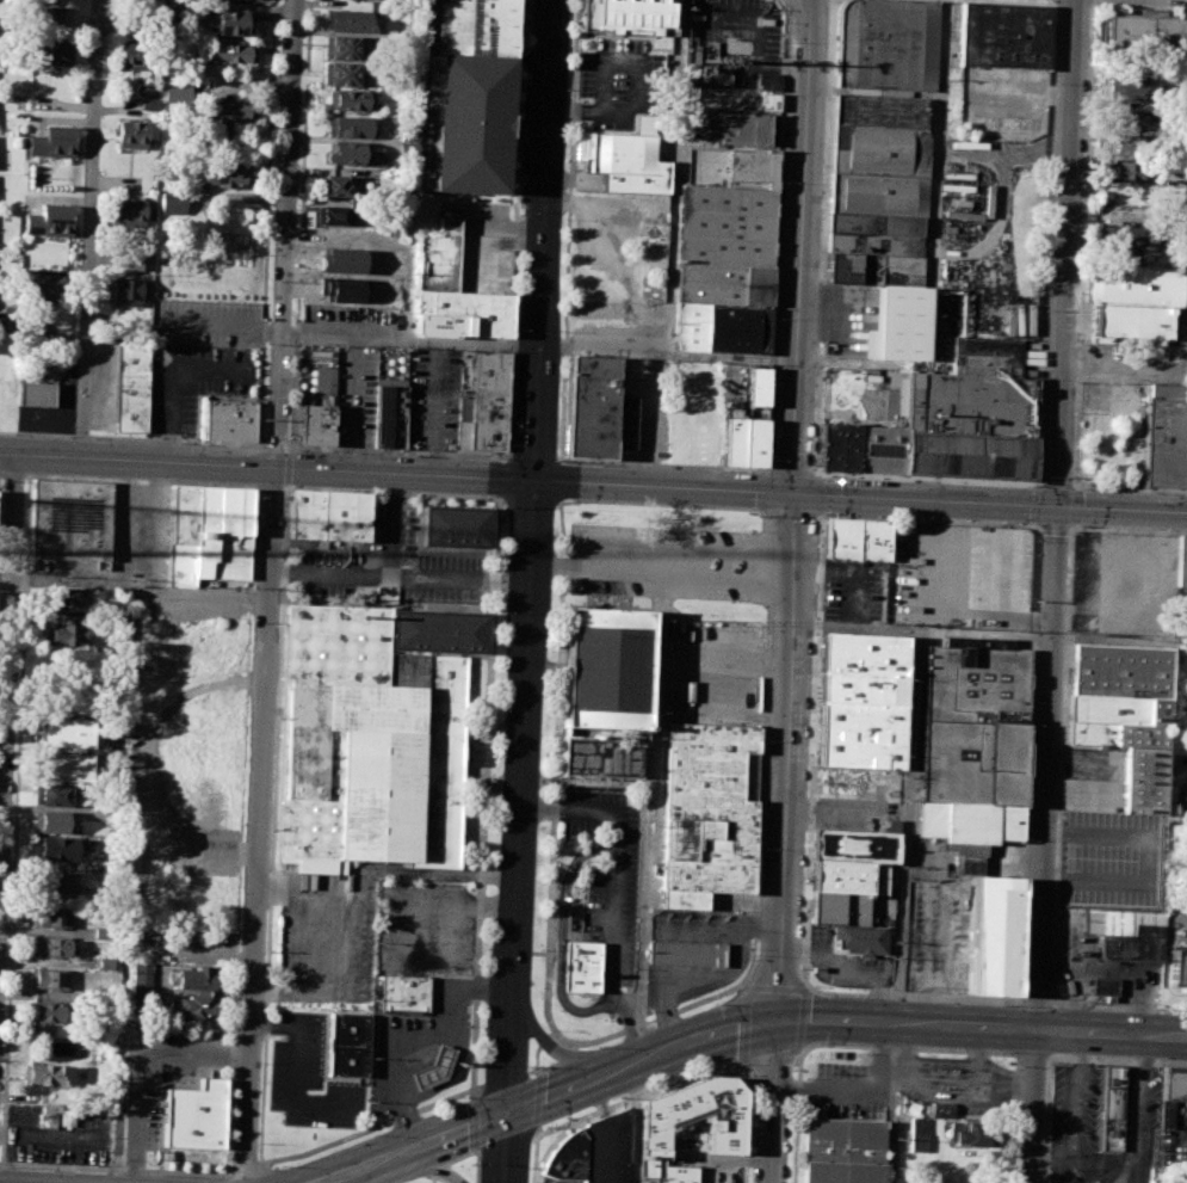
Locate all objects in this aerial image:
road: (786, 1)
road: (1053, 4)
road: (1074, 4)
road: (1139, 5)
building: (629, 17)
building: (231, 21)
building: (351, 21)
building: (475, 24)
building: (1145, 27)
building: (1004, 35)
road: (755, 39)
street lamp: (786, 41)
building: (886, 43)
street lamp: (104, 45)
street lamp: (305, 45)
building: (342, 48)
building: (57, 50)
building: (136, 53)
building: (231, 53)
building: (342, 73)
building: (767, 79)
street lamp: (524, 85)
building: (1130, 88)
street lamp: (565, 90)
parking lot: (1004, 91)
building: (178, 95)
building: (348, 100)
building: (748, 104)
building: (224, 110)
building: (1138, 119)
building: (470, 123)
building: (351, 127)
street lamp: (273, 130)
building: (407, 131)
building: (742, 133)
building: (131, 135)
street lamp: (100, 137)
building: (51, 141)
road: (936, 141)
building: (1123, 144)
building: (407, 152)
building: (348, 153)
building: (880, 155)
building: (622, 162)
building: (746, 170)
building: (1119, 171)
building: (222, 172)
road: (673, 177)
building: (587, 179)
street lamp: (781, 181)
building: (341, 185)
street lamp: (299, 191)
street lamp: (524, 211)
road: (1045, 211)
building: (129, 212)
building: (335, 214)
street lamp: (562, 218)
building: (49, 220)
building: (722, 227)
road: (89, 229)
road: (515, 229)
road: (567, 230)
building: (1127, 234)
road: (824, 235)
road: (777, 236)
street lamp: (95, 239)
road: (543, 240)
road: (1083, 244)
road: (800, 246)
building: (874, 249)
street lamp: (270, 253)
road: (1065, 253)
building: (438, 257)
building: (140, 258)
building: (1133, 284)
building: (721, 285)
building: (48, 288)
building: (131, 291)
street lamp: (1045, 309)
building: (6, 314)
building: (462, 314)
street lamp: (777, 319)
building: (1130, 320)
building: (899, 325)
street lamp: (515, 328)
building: (719, 329)
street lamp: (93, 331)
street lamp: (560, 331)
building: (33, 332)
road: (540, 347)
street lamp: (291, 351)
building: (987, 357)
parking lot: (200, 363)
road: (199, 368)
building: (484, 371)
road: (1152, 376)
building: (131, 383)
building: (758, 386)
building: (37, 394)
parking lot: (434, 400)
building: (598, 411)
building: (756, 412)
street lamp: (1076, 412)
building: (391, 413)
road: (44, 418)
building: (488, 418)
building: (230, 420)
road: (649, 420)
building: (316, 425)
building: (971, 425)
road: (37, 432)
street lamp: (14, 433)
road: (80, 435)
building: (1163, 435)
street lamp: (66, 437)
road: (175, 439)
street lamp: (264, 439)
street lamp: (289, 439)
building: (734, 442)
street lamp: (184, 443)
building: (754, 443)
street lamp: (509, 444)
road: (274, 445)
building: (839, 445)
street lamp: (295, 449)
building: (882, 449)
road: (397, 451)
street lamp: (413, 455)
road: (533, 457)
street lamp: (772, 457)
street lamp: (499, 458)
street lamp: (564, 458)
street lamp: (596, 463)
road: (662, 464)
building: (1183, 464)
street lamp: (1074, 468)
street lamp: (716, 469)
road: (1, 472)
road: (13, 473)
road: (926, 477)
road: (506, 479)
road: (814, 479)
street lamp: (907, 479)
street lamp: (2, 480)
road: (140, 480)
road: (527, 480)
traffic signals: (533, 481)
road: (1055, 483)
road: (270, 486)
street lamp: (1026, 486)
road: (1129, 488)
road: (394, 491)
street lamp: (1151, 492)
traffic signals: (796, 494)
street lamp: (285, 497)
road: (549, 499)
street lamp: (575, 499)
road: (661, 503)
road: (1035, 503)
street lamp: (505, 506)
road: (1074, 506)
traffic signals: (1057, 507)
road: (761, 509)
road: (1121, 510)
street lamp: (564, 511)
building: (328, 515)
street lamp: (760, 515)
building: (70, 519)
street lamp: (573, 519)
road: (762, 519)
road: (928, 519)
road: (394, 522)
road: (1037, 523)
road: (1072, 524)
road: (1053, 525)
building: (457, 526)
street lamp: (735, 526)
road: (1127, 529)
building: (209, 534)
building: (857, 540)
street lamp: (1039, 541)
road: (662, 557)
parking lot: (662, 561)
building: (1181, 562)
road: (766, 568)
road: (400, 569)
road: (848, 574)
parking lot: (972, 577)
road: (75, 583)
parking lot: (854, 590)
road: (267, 591)
road: (545, 591)
street lamp: (570, 594)
building: (61, 597)
street lamp: (738, 603)
street lamp: (769, 624)
building: (63, 631)
building: (440, 631)
road: (983, 633)
building: (334, 643)
building: (861, 653)
building: (606, 668)
road: (8, 671)
building: (1120, 671)
parking lot: (707, 673)
building: (860, 688)
building: (1119, 721)
building: (61, 731)
building: (858, 734)
building: (971, 740)
road: (812, 750)
building: (600, 756)
road: (1027, 763)
building: (373, 764)
road: (1061, 764)
building: (60, 765)
road: (908, 765)
road: (1045, 768)
parking lot: (1095, 778)
building: (1145, 781)
road: (484, 791)
building: (51, 794)
road: (519, 797)
road: (649, 809)
building: (707, 812)
parking lot: (858, 815)
building: (51, 821)
road: (129, 822)
road: (784, 838)
building: (855, 845)
building: (56, 849)
parking lot: (608, 871)
building: (848, 876)
building: (51, 881)
road: (616, 895)
road: (428, 904)
building: (839, 907)
building: (49, 917)
parking lot: (936, 920)
building: (99, 934)
building: (991, 935)
building: (861, 938)
road: (304, 939)
building: (1132, 944)
building: (48, 945)
building: (685, 954)
street lamp: (758, 955)
parking lot: (846, 962)
building: (582, 966)
building: (1177, 968)
building: (141, 976)
building: (47, 978)
building: (194, 978)
road: (742, 982)
road: (775, 986)
building: (1103, 986)
building: (406, 992)
building: (79, 994)
street lamp: (834, 994)
road: (913, 996)
road: (1034, 1002)
street lamp: (1003, 1004)
building: (138, 1006)
building: (194, 1006)
road: (1118, 1006)
building: (43, 1011)
street lamp: (1164, 1011)
road: (800, 1018)
traffic signals: (778, 1019)
road: (761, 1022)
road: (744, 1024)
road: (552, 1034)
road: (1109, 1034)
road: (573, 1040)
road: (421, 1041)
road: (545, 1041)
street lamp: (831, 1041)
building: (347, 1045)
street lamp: (599, 1046)
road: (905, 1046)
road: (557, 1050)
street lamp: (1003, 1050)
road: (1032, 1053)
road: (769, 1056)
road: (1118, 1056)
street lamp: (1163, 1058)
road: (140, 1060)
road: (536, 1060)
street lamp: (482, 1062)
street lamp: (722, 1062)
street lamp: (539, 1066)
street lamp: (1018, 1067)
building: (433, 1068)
gas station: (433, 1068)
building: (42, 1074)
road: (296, 1076)
road: (447, 1077)
road: (505, 1078)
parking lot: (957, 1082)
street lamp: (753, 1088)
parking lot: (847, 1091)
road: (833, 1092)
building: (1171, 1092)
road: (472, 1093)
road: (636, 1096)
street lamp: (459, 1098)
street lamp: (611, 1098)
road: (892, 1103)
road: (1031, 1105)
road: (1076, 1108)
building: (1113, 1108)
road: (1136, 1109)
building: (938, 1110)
traffic signals: (505, 1114)
building: (194, 1115)
road: (796, 1116)
road: (1010, 1117)
road: (1046, 1117)
building: (48, 1119)
building: (692, 1119)
road: (747, 1122)
road: (474, 1123)
road: (635, 1123)
road: (373, 1127)
road: (460, 1129)
street lamp: (544, 1132)
street lamp: (373, 1134)
building: (919, 1134)
building: (975, 1135)
road: (506, 1142)
road: (502, 1148)
building: (840, 1150)
road: (478, 1153)
building: (592, 1153)
road: (345, 1157)
road: (459, 1157)
road: (1052, 1158)
road: (534, 1159)
street lamp: (1013, 1162)
street lamp: (282, 1164)
street lamp: (471, 1164)
road: (476, 1164)
road: (431, 1165)
street lamp: (11, 1166)
street lamp: (530, 1167)
road: (115, 1169)
road: (246, 1169)
road: (389, 1170)
road: (438, 1170)
street lamp: (161, 1175)
road: (433, 1179)
road: (357, 1182)

